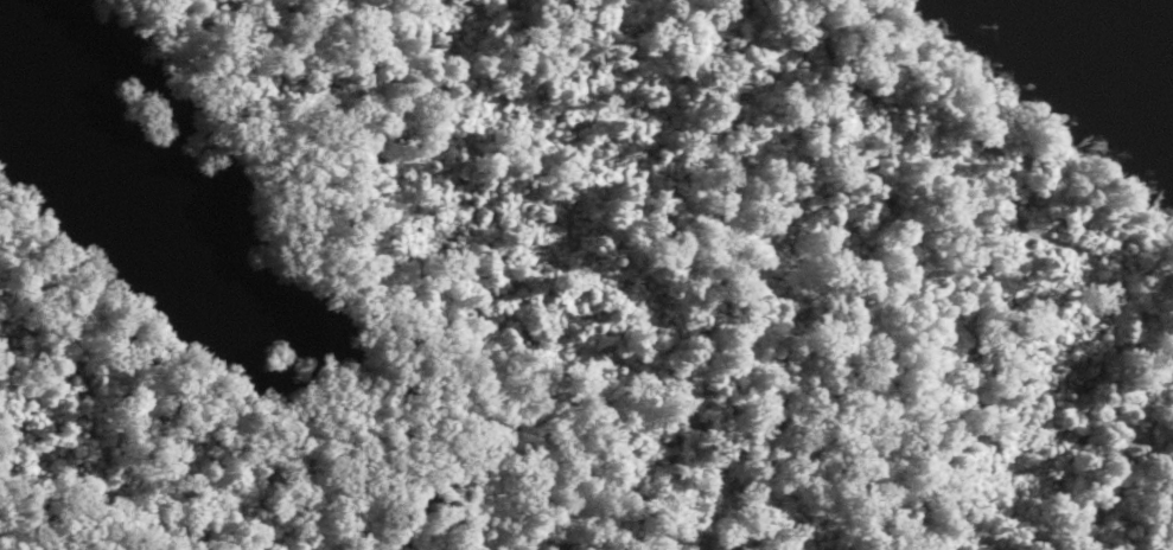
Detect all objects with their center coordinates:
river: (1142, 23)

